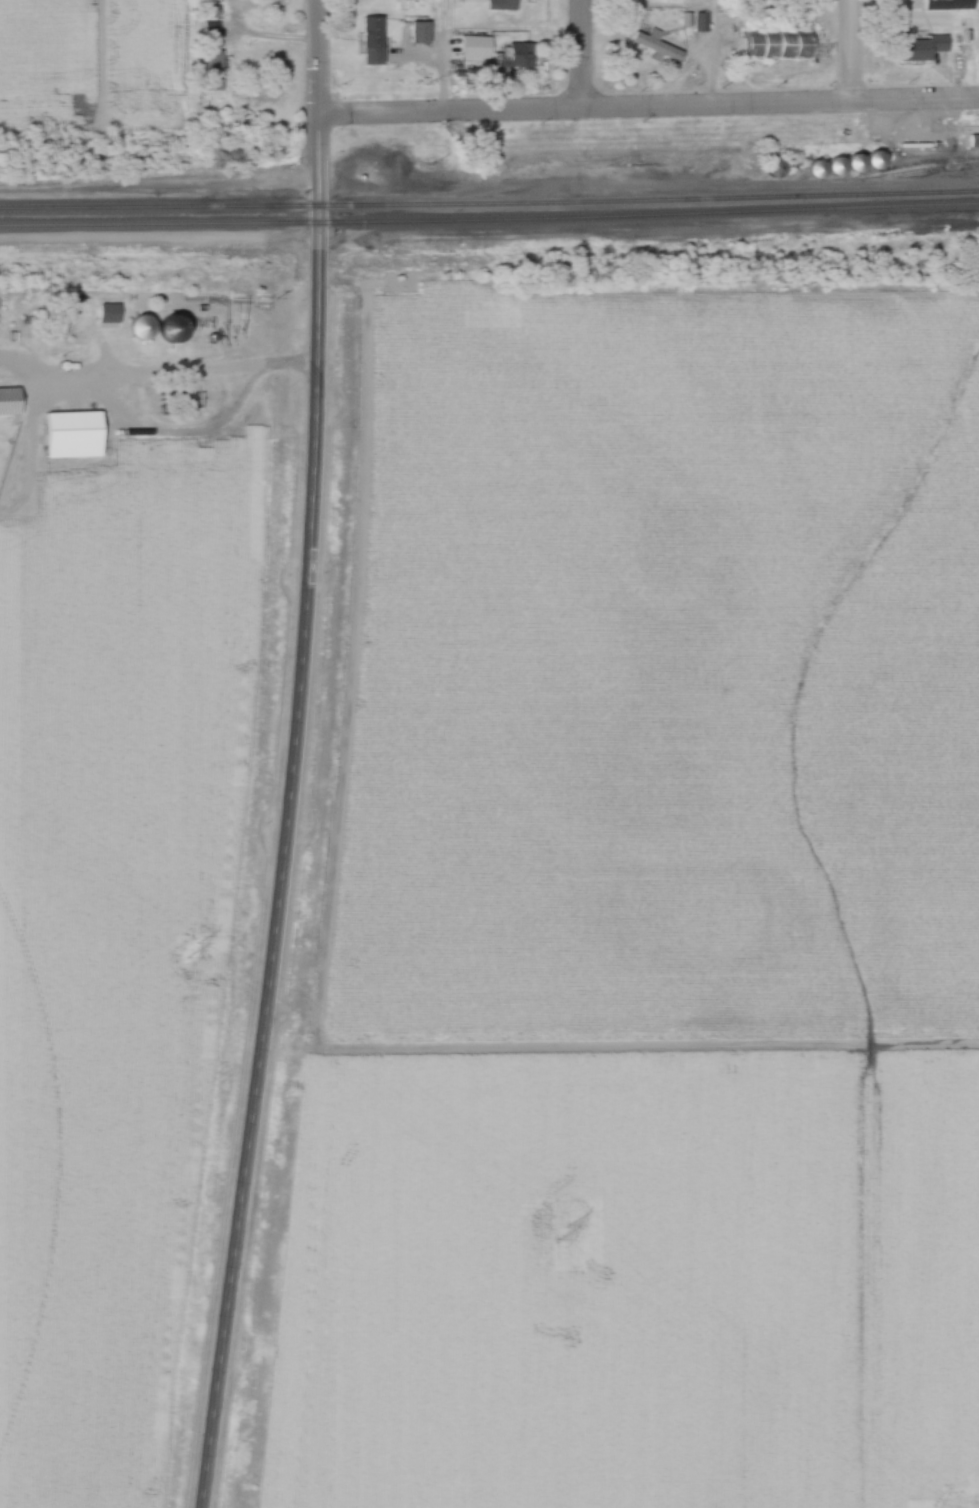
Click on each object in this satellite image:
building: (505, 5)
building: (953, 5)
building: (424, 32)
building: (376, 41)
building: (780, 46)
building: (660, 47)
building: (931, 47)
road: (851, 52)
road: (715, 54)
building: (524, 55)
road: (582, 55)
road: (446, 56)
road: (322, 57)
building: (215, 69)
road: (650, 108)
building: (975, 141)
building: (882, 161)
building: (853, 165)
building: (777, 168)
railway: (937, 168)
building: (819, 170)
railway: (748, 196)
railway: (259, 206)
railway: (489, 222)
building: (69, 278)
road: (198, 370)
building: (77, 436)
crop: (668, 644)
road: (290, 813)
power tower: (195, 953)
power tower: (567, 1235)
crop: (855, 1276)
crop: (507, 1281)

